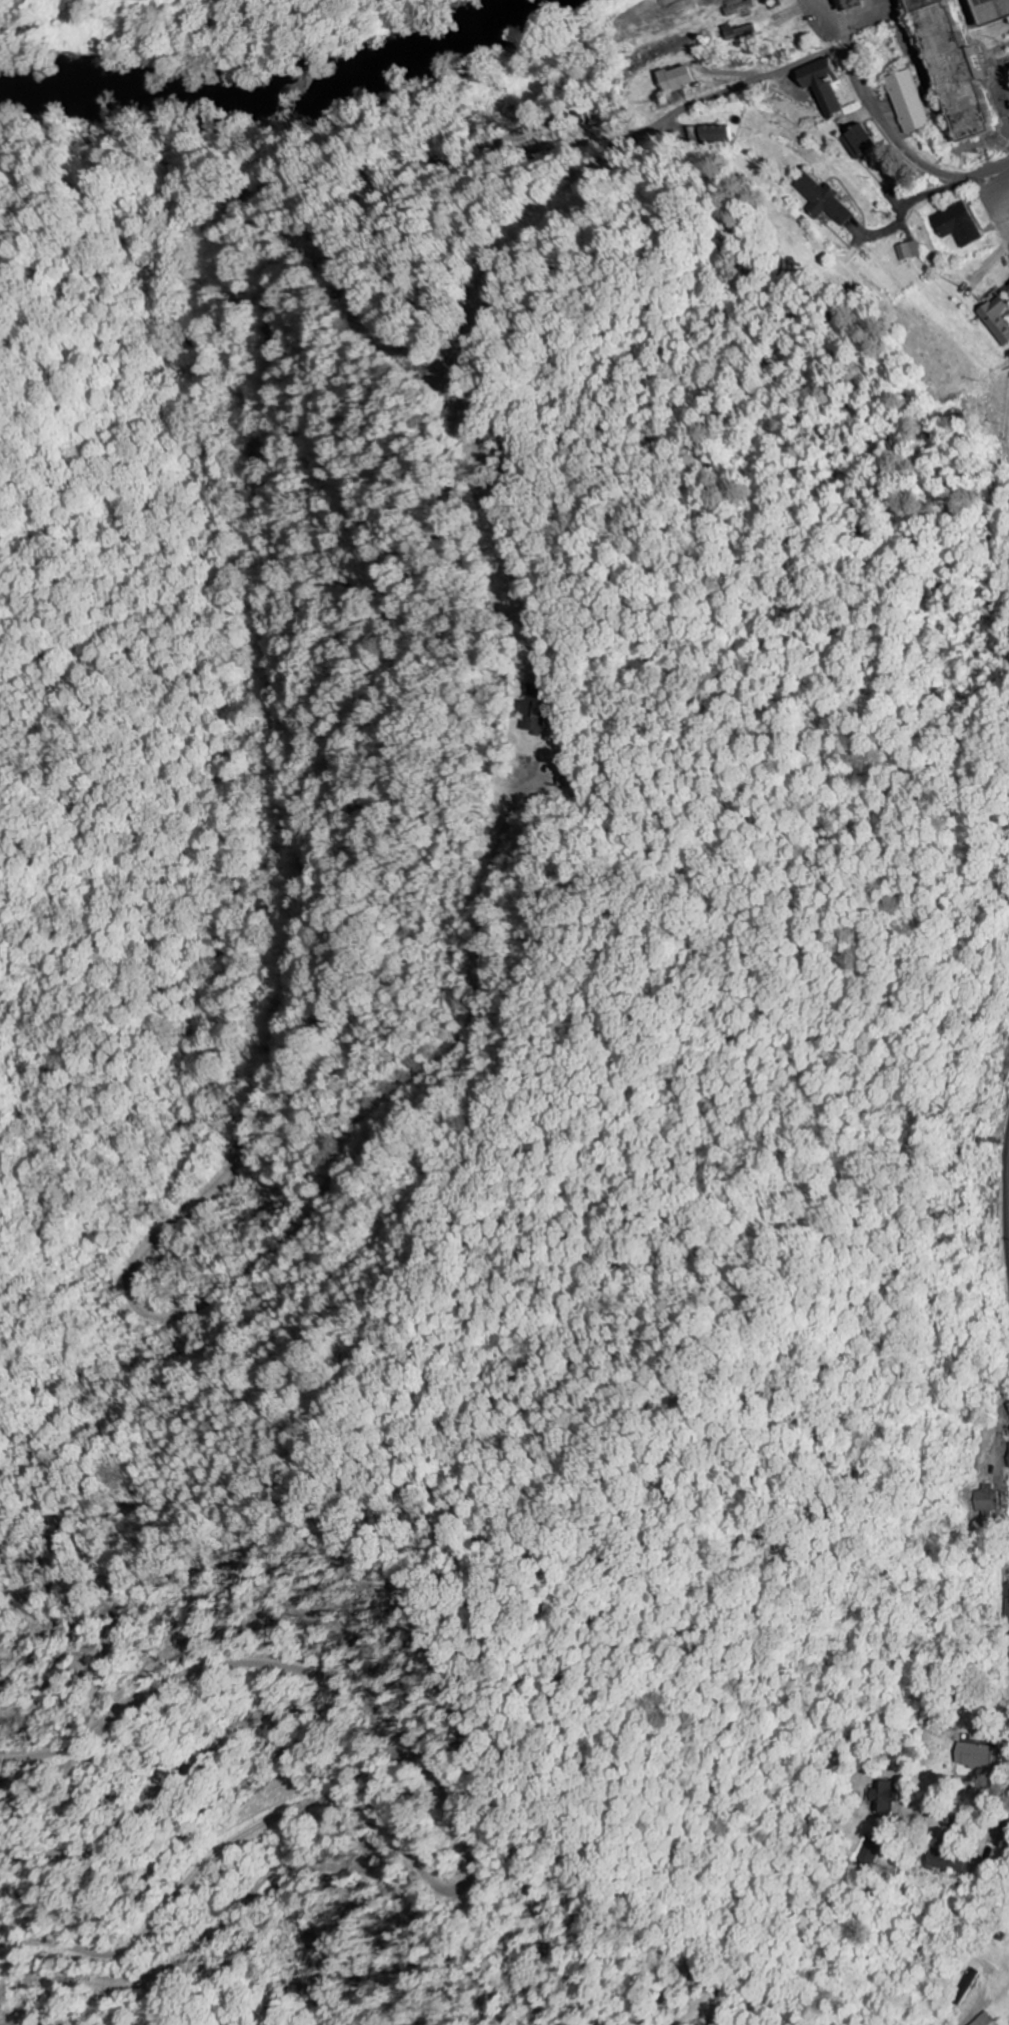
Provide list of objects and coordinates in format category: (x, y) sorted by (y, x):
building: (740, 9)
building: (988, 11)
building: (739, 33)
building: (948, 71)
building: (676, 79)
building: (821, 85)
building: (906, 102)
river: (280, 103)
building: (716, 134)
building: (857, 141)
road: (993, 170)
road: (1004, 178)
building: (823, 200)
road: (992, 208)
building: (956, 225)
building: (907, 251)
building: (996, 320)
building: (532, 711)
road: (275, 713)
building: (566, 780)
road: (1008, 1205)
building: (1008, 1466)
building: (987, 1498)
building: (1007, 1611)
building: (973, 1756)
road: (952, 1781)
building: (882, 1799)
building: (870, 1852)
building: (947, 1862)
building: (984, 2021)

